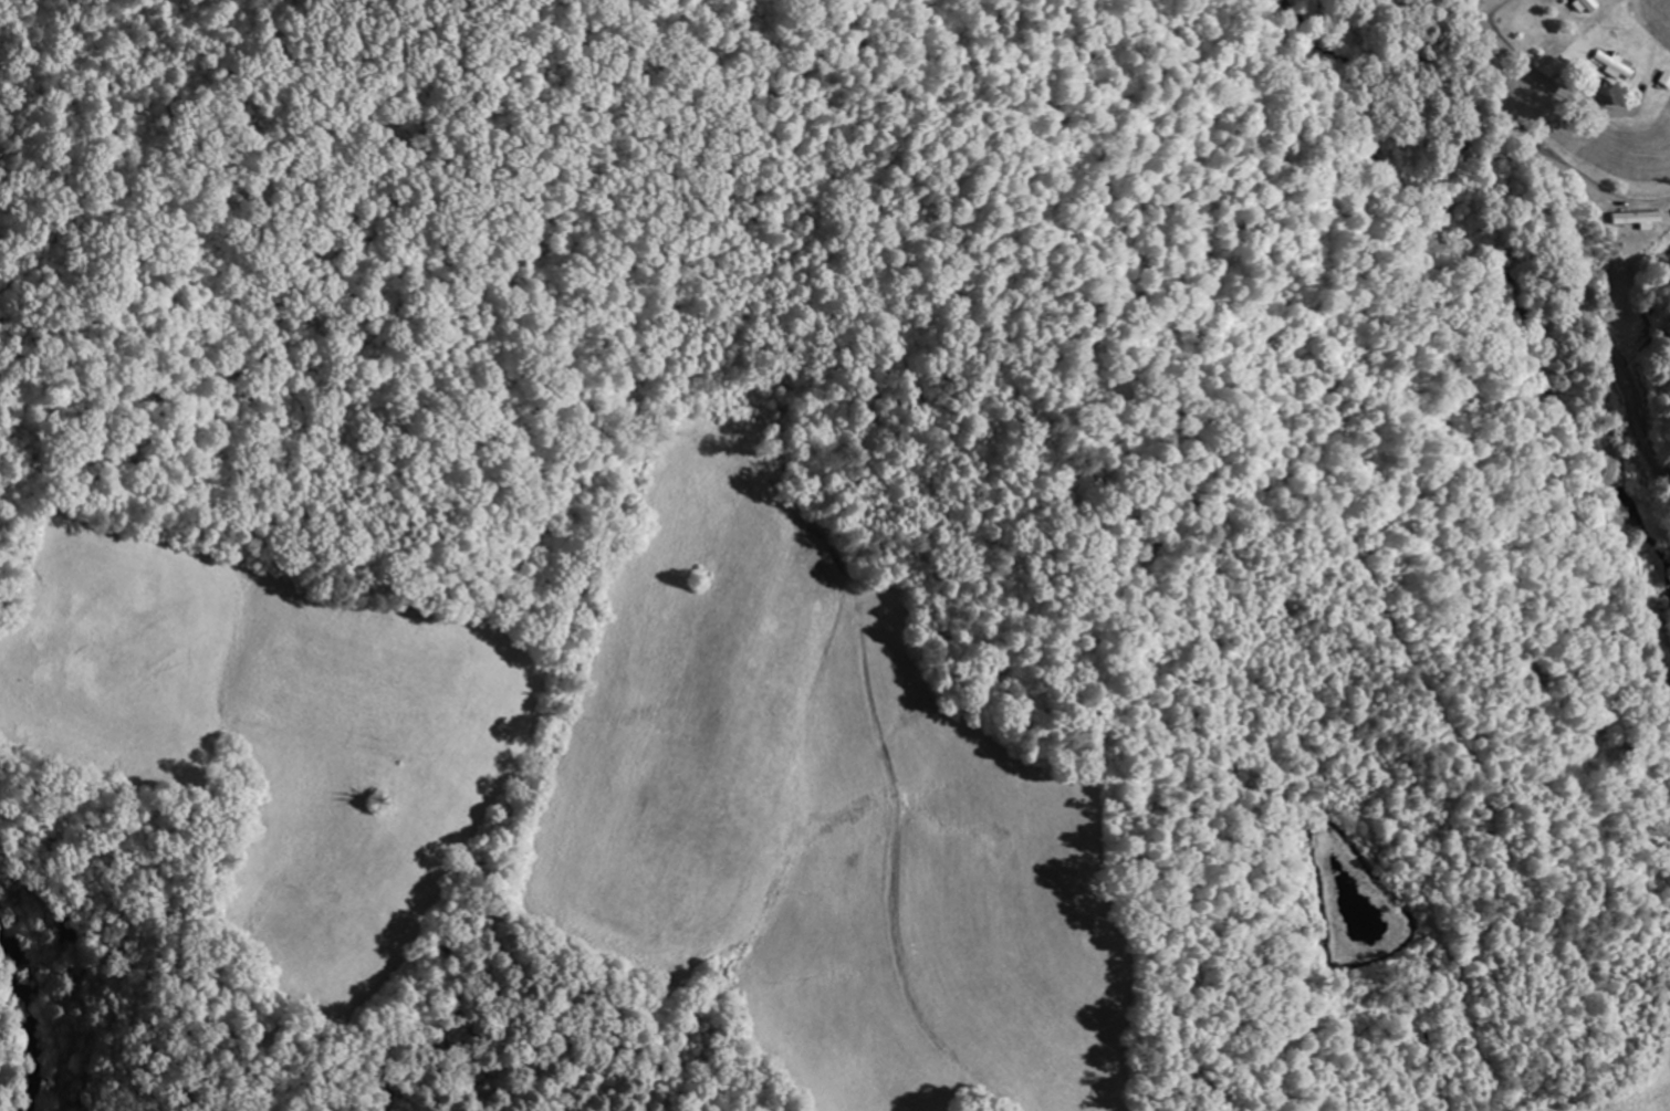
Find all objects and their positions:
road: (1473, 11)
building: (1611, 64)
road: (1596, 111)
building: (1631, 217)
road: (1600, 355)
road: (1637, 403)

